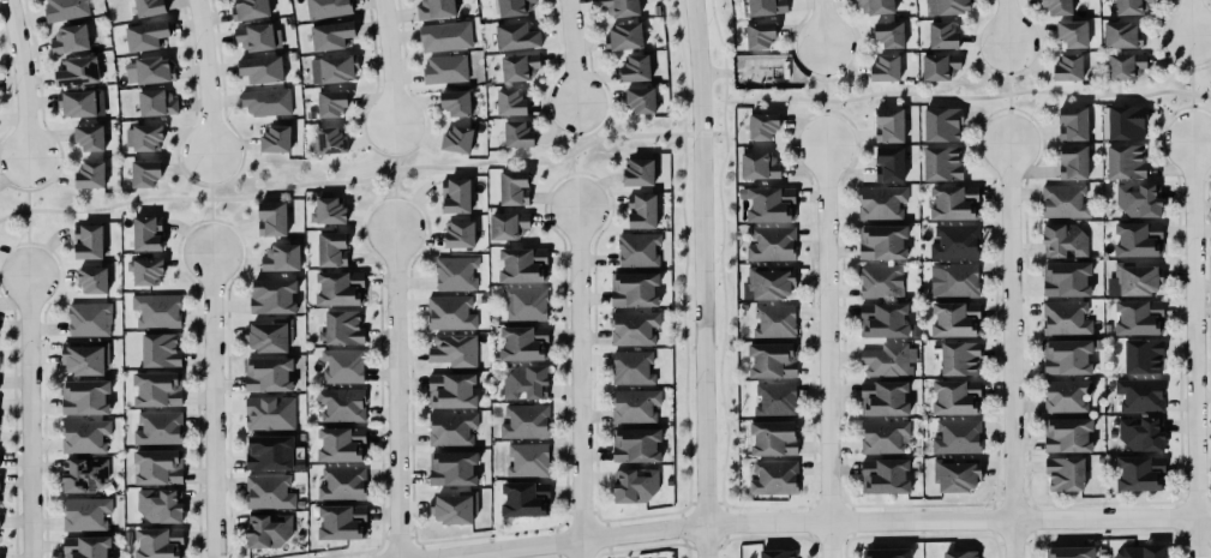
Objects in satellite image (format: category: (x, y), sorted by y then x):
building: (875, 6)
building: (954, 6)
building: (1128, 6)
building: (149, 7)
building: (515, 7)
building: (621, 7)
building: (766, 7)
building: (1056, 7)
building: (250, 8)
building: (325, 8)
building: (62, 10)
building: (434, 10)
road: (1191, 18)
road: (822, 23)
road: (1006, 23)
building: (760, 34)
building: (887, 34)
building: (1071, 34)
building: (331, 35)
building: (942, 35)
building: (1121, 35)
building: (146, 36)
building: (443, 36)
building: (258, 37)
building: (515, 37)
building: (623, 38)
building: (67, 40)
road: (571, 53)
road: (388, 61)
building: (518, 66)
building: (940, 66)
building: (1125, 66)
building: (263, 68)
building: (331, 68)
building: (443, 68)
building: (883, 68)
building: (1067, 68)
building: (151, 70)
building: (634, 70)
building: (74, 72)
building: (131, 72)
road: (737, 74)
road: (204, 77)
road: (20, 80)
road: (1191, 89)
park: (975, 92)
road: (1007, 95)
road: (825, 96)
road: (967, 97)
building: (639, 100)
building: (264, 101)
building: (156, 102)
building: (510, 102)
building: (77, 103)
building: (329, 103)
building: (455, 103)
road: (566, 119)
building: (1123, 119)
building: (1069, 120)
road: (605, 121)
building: (760, 121)
building: (886, 122)
building: (942, 124)
road: (382, 133)
building: (516, 136)
road: (596, 136)
building: (142, 137)
building: (88, 138)
road: (575, 138)
building: (276, 139)
building: (329, 140)
building: (455, 140)
road: (380, 152)
road: (409, 152)
building: (1071, 160)
building: (1126, 161)
building: (887, 162)
road: (197, 163)
road: (572, 163)
building: (755, 163)
building: (942, 163)
building: (639, 172)
road: (16, 173)
road: (587, 173)
building: (143, 174)
building: (88, 175)
road: (235, 175)
road: (396, 175)
park: (338, 178)
road: (362, 179)
road: (558, 179)
road: (194, 184)
road: (40, 187)
building: (514, 187)
road: (17, 188)
building: (452, 192)
road: (402, 198)
road: (378, 199)
building: (1139, 199)
building: (1065, 200)
building: (881, 202)
building: (954, 202)
road: (211, 203)
building: (769, 203)
building: (639, 208)
building: (325, 209)
road: (29, 216)
building: (269, 216)
road: (379, 218)
road: (199, 221)
road: (221, 221)
building: (505, 222)
building: (145, 230)
building: (456, 232)
building: (1137, 238)
building: (85, 239)
road: (200, 240)
building: (769, 240)
building: (880, 240)
building: (1066, 240)
building: (955, 241)
road: (36, 244)
road: (17, 245)
building: (330, 247)
building: (639, 250)
building: (281, 257)
road: (719, 257)
road: (17, 260)
road: (685, 260)
building: (520, 263)
building: (144, 269)
building: (452, 271)
building: (90, 276)
building: (1131, 277)
road: (703, 278)
building: (1066, 278)
building: (879, 280)
building: (954, 280)
building: (767, 281)
building: (337, 286)
building: (631, 287)
building: (270, 294)
building: (522, 301)
building: (155, 307)
building: (449, 312)
building: (1135, 314)
building: (85, 317)
building: (953, 317)
building: (1062, 317)
building: (881, 318)
building: (774, 320)
building: (631, 324)
building: (340, 325)
building: (266, 332)
building: (524, 342)
building: (451, 348)
road: (1197, 349)
building: (160, 350)
road: (1011, 350)
road: (826, 352)
building: (1140, 353)
building: (1063, 354)
building: (886, 358)
building: (960, 358)
building: (84, 359)
building: (773, 360)
building: (340, 364)
building: (629, 365)
building: (268, 374)
building: (523, 380)
road: (577, 382)
building: (449, 388)
building: (157, 389)
road: (392, 391)
building: (1137, 392)
building: (1063, 394)
building: (83, 395)
building: (881, 395)
building: (954, 395)
building: (773, 397)
building: (338, 403)
building: (633, 403)
road: (211, 406)
building: (270, 413)
road: (28, 415)
building: (524, 421)
building: (157, 425)
building: (450, 426)
building: (1065, 432)
building: (1143, 433)
building: (80, 434)
building: (881, 434)
building: (955, 434)
building: (773, 438)
building: (342, 444)
building: (636, 445)
building: (269, 452)
building: (527, 457)
building: (155, 466)
building: (452, 467)
building: (1138, 470)
building: (954, 472)
building: (80, 473)
building: (1065, 473)
building: (882, 474)
building: (774, 478)
building: (343, 484)
building: (635, 485)
building: (269, 491)
building: (526, 498)
building: (160, 504)
building: (451, 504)
building: (83, 511)
road: (815, 521)
building: (342, 522)
building: (270, 529)
building: (160, 542)
building: (84, 545)
building: (1141, 550)
building: (1067, 551)
building: (777, 553)
building: (885, 553)
building: (958, 553)
building: (0, 554)

